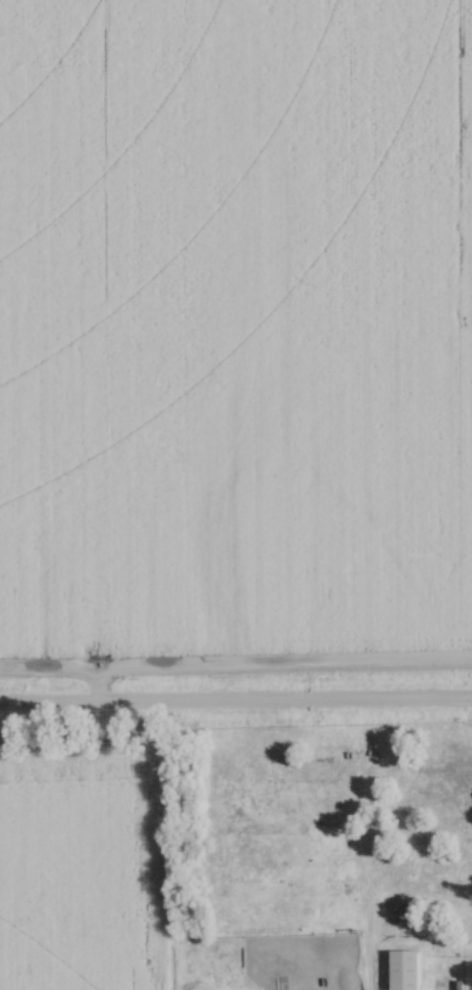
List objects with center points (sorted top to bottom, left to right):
road: (236, 707)
building: (253, 978)
building: (454, 985)
building: (412, 986)

